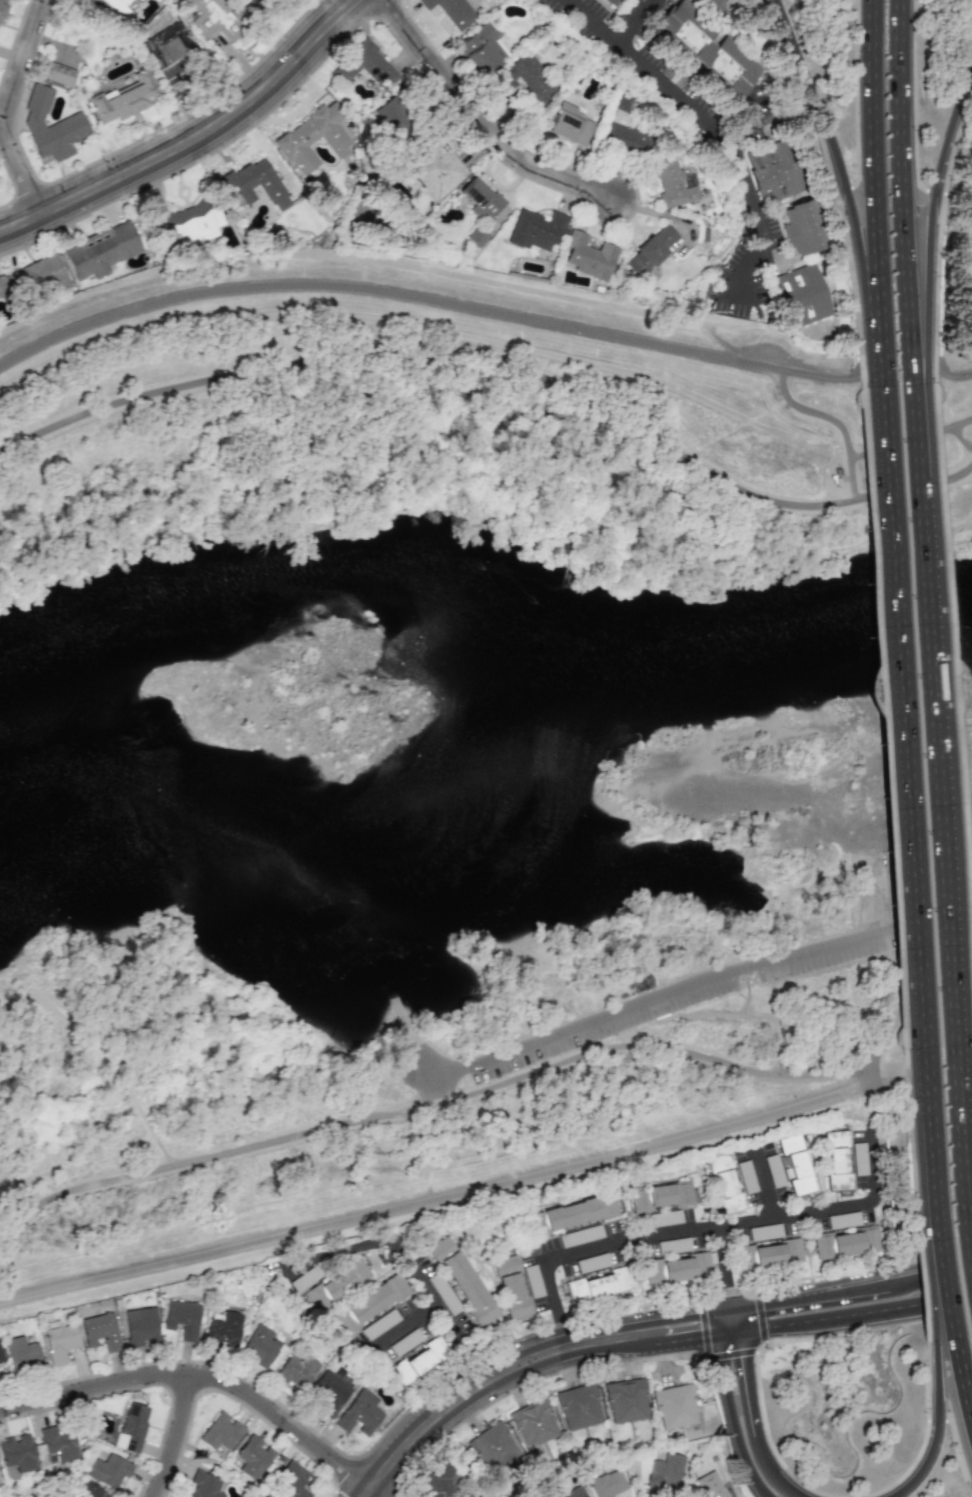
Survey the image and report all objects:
building: (249, 1)
building: (613, 2)
building: (716, 6)
building: (2, 7)
building: (121, 7)
building: (451, 11)
building: (216, 19)
road: (637, 23)
building: (709, 47)
building: (170, 49)
building: (482, 49)
building: (365, 66)
building: (57, 74)
building: (525, 80)
building: (124, 98)
road: (10, 107)
building: (394, 116)
road: (485, 117)
road: (755, 120)
building: (569, 125)
building: (50, 127)
building: (623, 127)
road: (723, 134)
building: (313, 138)
road: (193, 139)
road: (830, 153)
road: (970, 158)
building: (435, 166)
building: (774, 172)
road: (900, 180)
building: (256, 183)
building: (672, 183)
road: (924, 188)
road: (873, 189)
road: (967, 191)
road: (842, 192)
building: (480, 199)
road: (926, 215)
building: (188, 221)
building: (803, 228)
building: (535, 230)
building: (476, 236)
building: (653, 248)
building: (101, 250)
building: (588, 256)
building: (34, 277)
road: (388, 293)
road: (755, 293)
building: (802, 296)
road: (499, 365)
road: (910, 369)
road: (952, 375)
road: (817, 377)
road: (835, 425)
road: (962, 439)
road: (912, 441)
road: (952, 667)
river: (483, 704)
road: (906, 749)
road: (935, 820)
road: (895, 876)
road: (698, 984)
road: (873, 1073)
road: (455, 1101)
building: (837, 1160)
building: (796, 1164)
building: (725, 1183)
road: (893, 1183)
road: (443, 1193)
building: (661, 1196)
building: (575, 1213)
road: (706, 1226)
road: (930, 1226)
road: (942, 1227)
building: (847, 1243)
building: (770, 1254)
road: (720, 1263)
building: (677, 1268)
road: (411, 1270)
building: (463, 1281)
building: (338, 1284)
building: (599, 1285)
building: (511, 1287)
road: (935, 1289)
building: (370, 1303)
road: (557, 1307)
road: (816, 1308)
road: (728, 1311)
road: (720, 1313)
building: (182, 1319)
road: (725, 1323)
building: (141, 1326)
building: (223, 1329)
building: (100, 1330)
road: (676, 1332)
building: (60, 1342)
building: (262, 1348)
road: (721, 1350)
building: (22, 1354)
building: (1, 1356)
building: (418, 1361)
road: (937, 1361)
building: (297, 1371)
road: (963, 1371)
road: (199, 1378)
road: (934, 1384)
road: (743, 1386)
road: (482, 1389)
road: (728, 1391)
building: (328, 1392)
building: (626, 1401)
building: (675, 1406)
building: (579, 1407)
building: (359, 1414)
building: (534, 1423)
building: (131, 1428)
building: (220, 1432)
road: (177, 1438)
building: (58, 1443)
building: (493, 1447)
road: (934, 1450)
building: (17, 1453)
building: (253, 1457)
building: (109, 1471)
building: (665, 1472)
road: (773, 1476)
building: (440, 1479)
building: (291, 1481)
building: (608, 1484)
building: (202, 1485)
building: (708, 1486)
building: (88, 1490)
building: (574, 1493)
road: (370, 1494)
building: (265, 1496)
building: (481, 1496)

